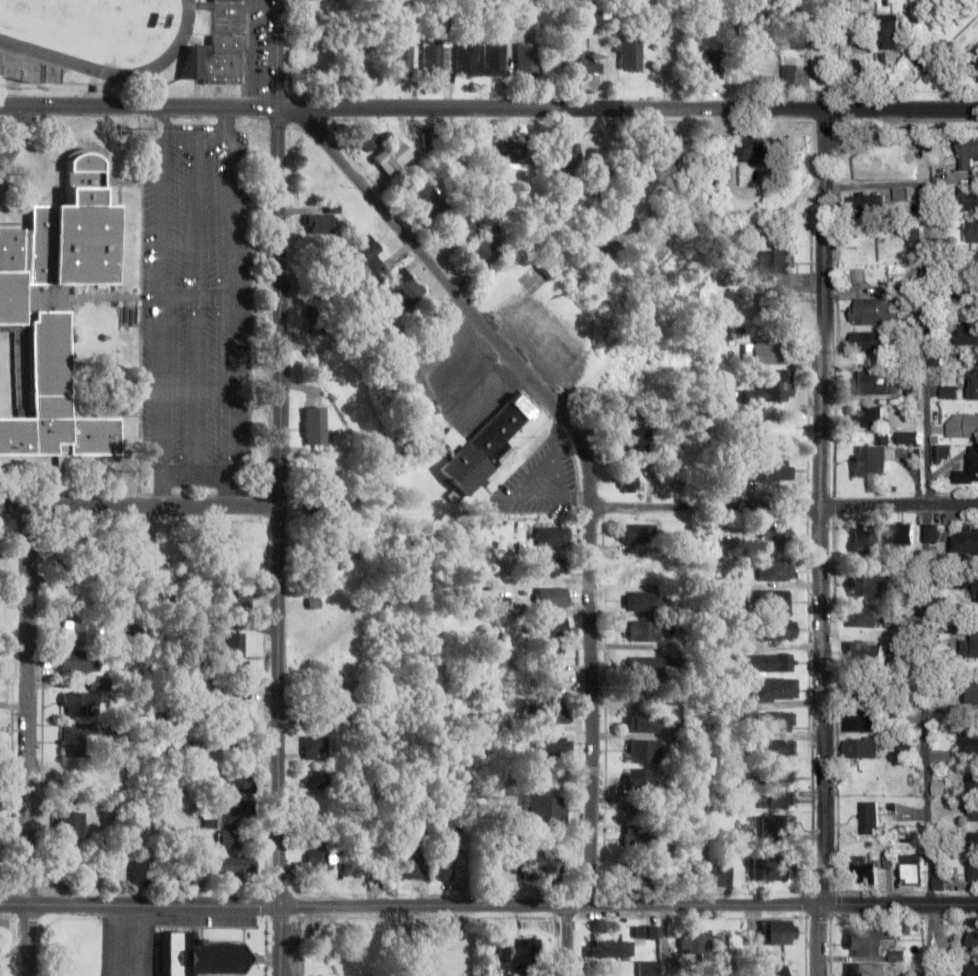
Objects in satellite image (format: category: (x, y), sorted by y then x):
building: (228, 1)
building: (703, 5)
building: (595, 14)
park: (55, 18)
building: (860, 27)
building: (802, 29)
building: (891, 31)
park: (102, 42)
building: (435, 52)
building: (629, 52)
building: (526, 57)
building: (404, 58)
building: (469, 58)
building: (578, 58)
building: (494, 59)
building: (215, 60)
building: (709, 64)
building: (757, 68)
building: (789, 76)
road: (488, 110)
road: (197, 128)
road: (19, 135)
building: (368, 139)
road: (604, 144)
building: (671, 147)
building: (754, 148)
building: (513, 152)
building: (567, 156)
building: (968, 156)
building: (393, 157)
building: (430, 198)
building: (970, 199)
building: (866, 202)
building: (632, 204)
road: (197, 212)
building: (321, 224)
building: (463, 227)
building: (971, 231)
building: (481, 250)
building: (366, 253)
building: (974, 262)
building: (552, 264)
building: (774, 264)
building: (50, 278)
building: (403, 287)
parking lot: (196, 292)
road: (198, 296)
building: (973, 296)
building: (876, 311)
building: (319, 316)
building: (967, 333)
building: (870, 340)
building: (763, 352)
building: (872, 381)
building: (973, 384)
road: (196, 385)
building: (772, 387)
building: (949, 392)
building: (869, 416)
building: (316, 425)
building: (962, 425)
building: (777, 428)
building: (56, 432)
building: (910, 436)
building: (633, 441)
building: (482, 446)
road: (279, 453)
road: (588, 457)
building: (873, 457)
building: (974, 463)
building: (771, 469)
road: (197, 474)
building: (629, 478)
building: (319, 502)
road: (139, 507)
road: (786, 508)
building: (641, 532)
building: (934, 532)
building: (901, 533)
road: (925, 533)
building: (552, 536)
building: (777, 537)
building: (864, 540)
building: (967, 541)
road: (822, 543)
building: (323, 557)
building: (551, 565)
building: (776, 570)
building: (63, 574)
building: (973, 584)
building: (866, 585)
building: (554, 597)
building: (233, 598)
building: (646, 601)
building: (774, 602)
building: (861, 618)
building: (550, 626)
building: (777, 629)
building: (83, 630)
building: (645, 631)
building: (973, 646)
building: (237, 650)
building: (866, 652)
building: (554, 656)
building: (78, 660)
building: (768, 663)
building: (646, 666)
building: (861, 687)
building: (554, 688)
building: (772, 690)
building: (234, 692)
building: (974, 692)
building: (79, 704)
building: (340, 705)
building: (550, 714)
building: (859, 720)
building: (767, 721)
building: (643, 723)
building: (73, 740)
road: (29, 741)
building: (969, 743)
building: (903, 746)
building: (316, 747)
building: (862, 747)
building: (778, 748)
building: (180, 750)
building: (643, 750)
building: (773, 776)
building: (640, 778)
building: (316, 779)
building: (238, 784)
building: (420, 784)
building: (971, 784)
building: (777, 799)
building: (543, 807)
building: (641, 810)
building: (972, 811)
building: (224, 813)
building: (868, 817)
building: (72, 825)
building: (775, 826)
building: (1, 835)
building: (638, 836)
building: (233, 839)
building: (974, 839)
building: (318, 855)
building: (416, 857)
building: (232, 865)
building: (543, 865)
building: (446, 868)
building: (773, 869)
building: (911, 869)
building: (973, 869)
building: (139, 872)
building: (866, 873)
building: (638, 874)
building: (722, 876)
road: (900, 905)
road: (411, 907)
building: (648, 932)
building: (777, 933)
building: (3, 935)
building: (869, 940)
road: (571, 941)
road: (667, 941)
road: (280, 942)
building: (973, 942)
park: (350, 943)
building: (697, 943)
building: (611, 949)
building: (523, 953)
building: (198, 955)
building: (650, 968)
building: (871, 969)
building: (769, 970)
building: (973, 970)

